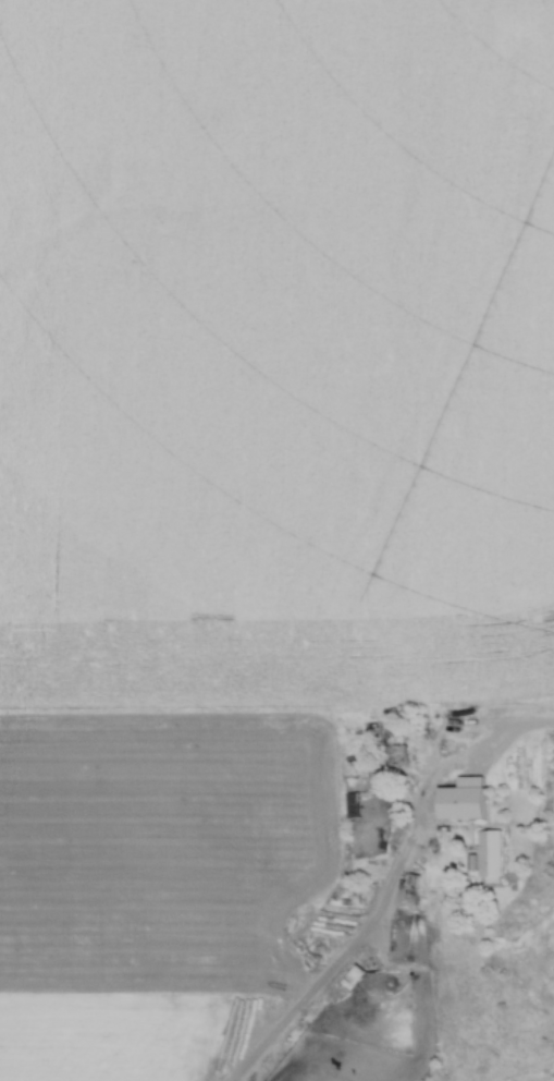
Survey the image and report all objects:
building: (386, 744)
road: (501, 744)
building: (349, 805)
building: (485, 854)

